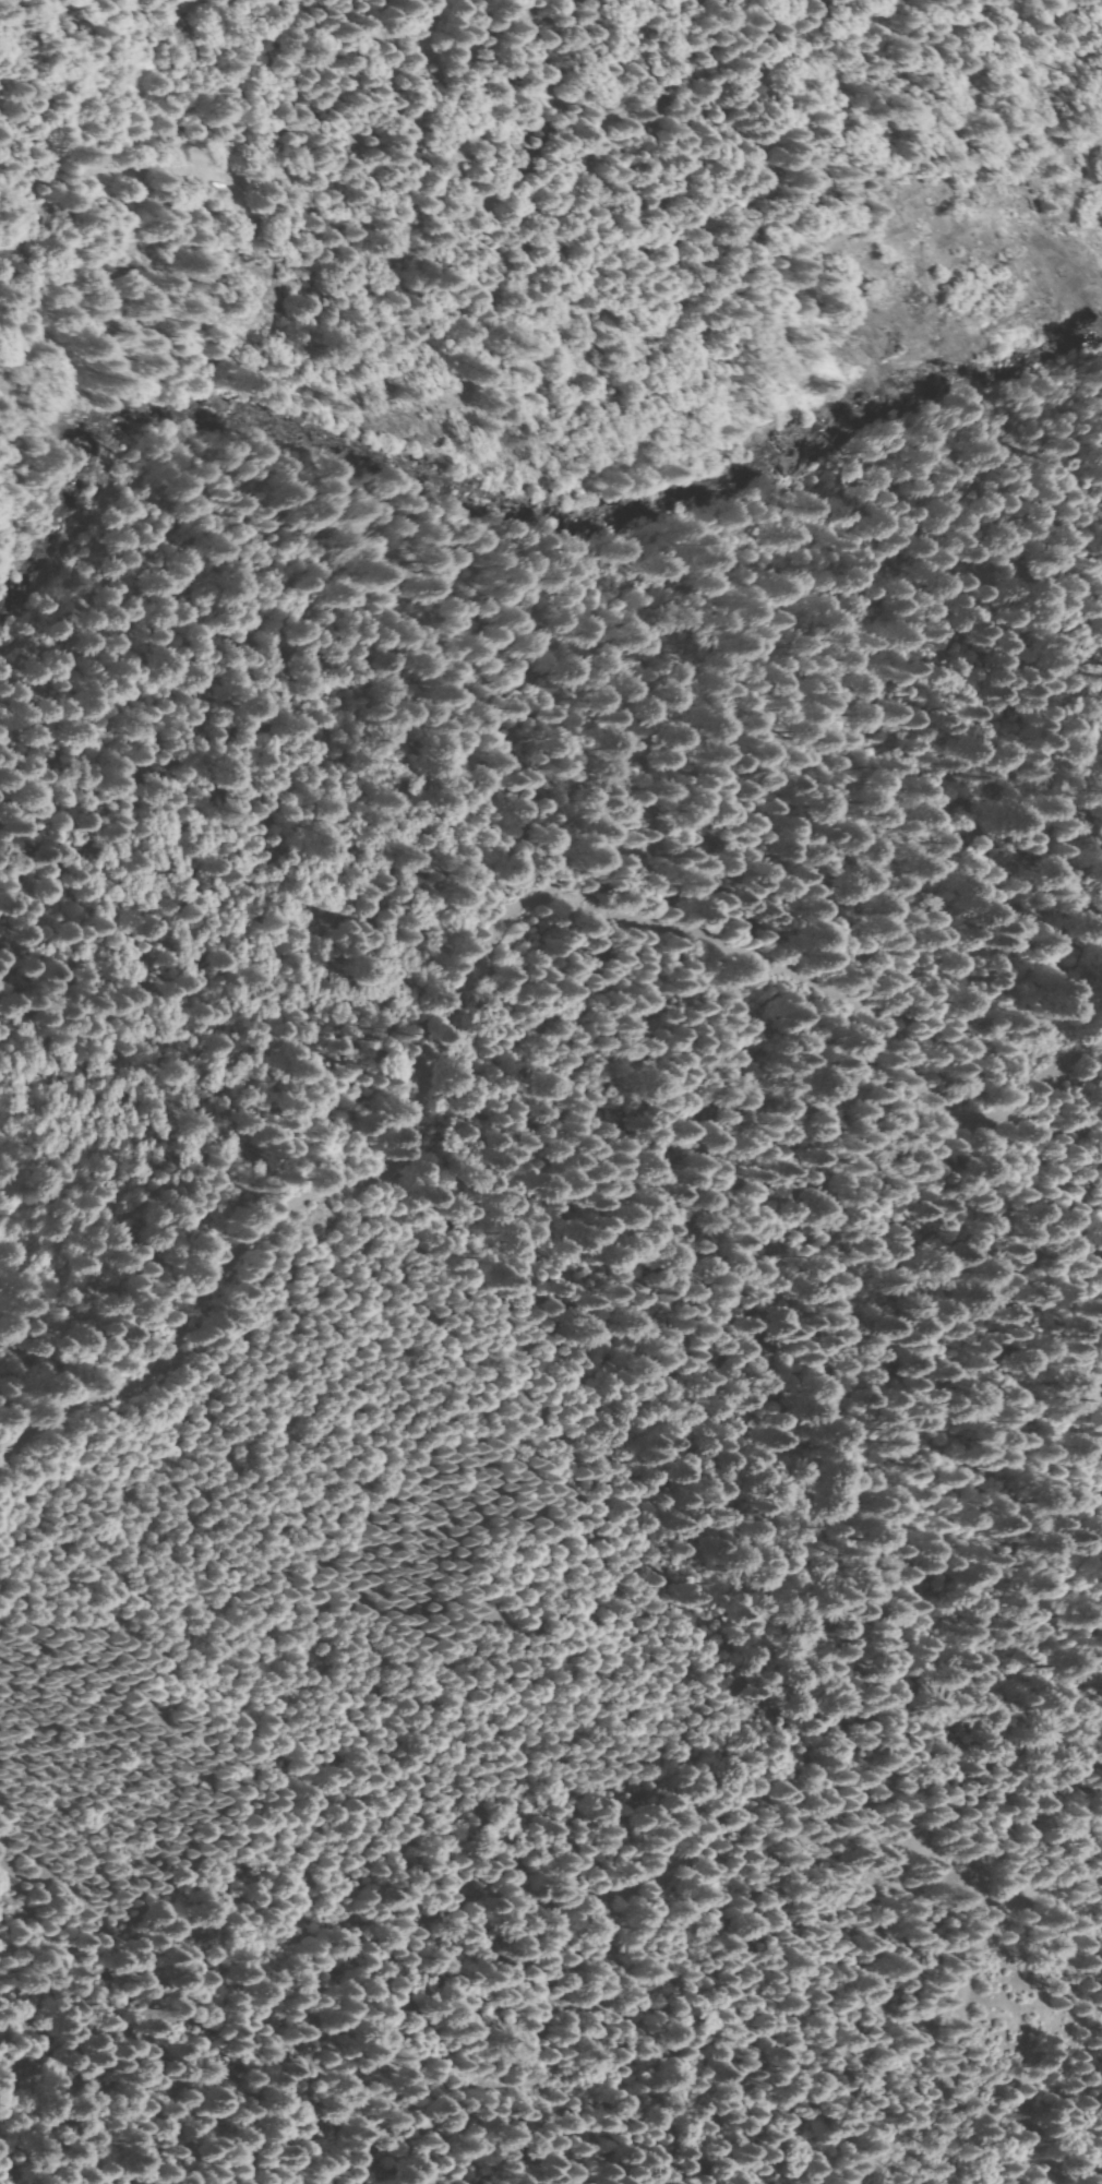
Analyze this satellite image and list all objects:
river: (514, 503)
road: (963, 2014)

